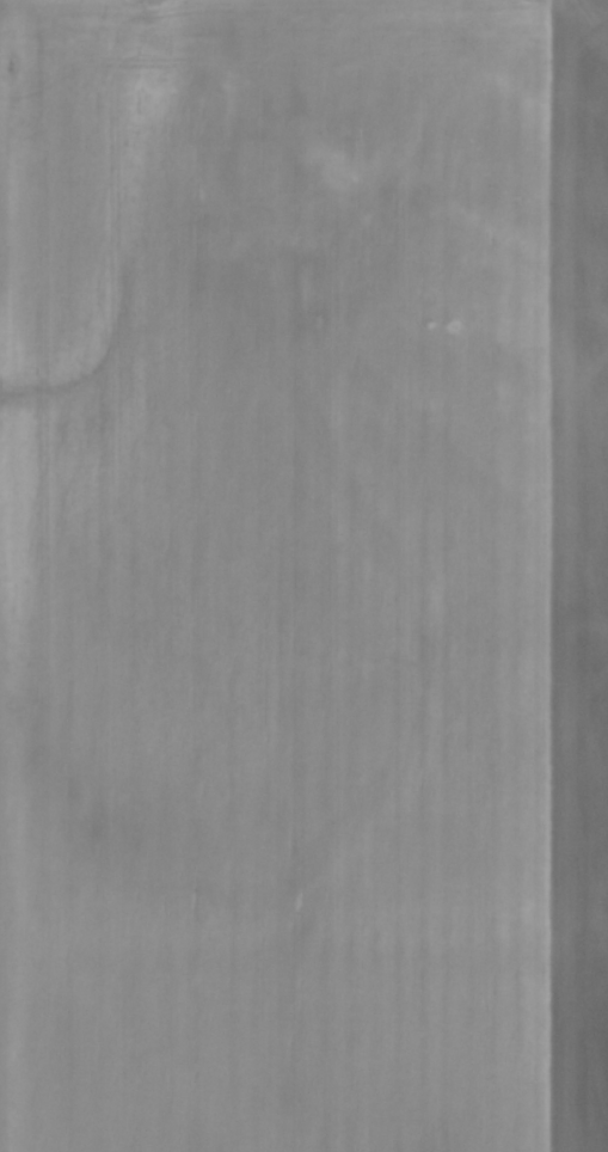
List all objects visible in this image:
crop: (303, 576)

